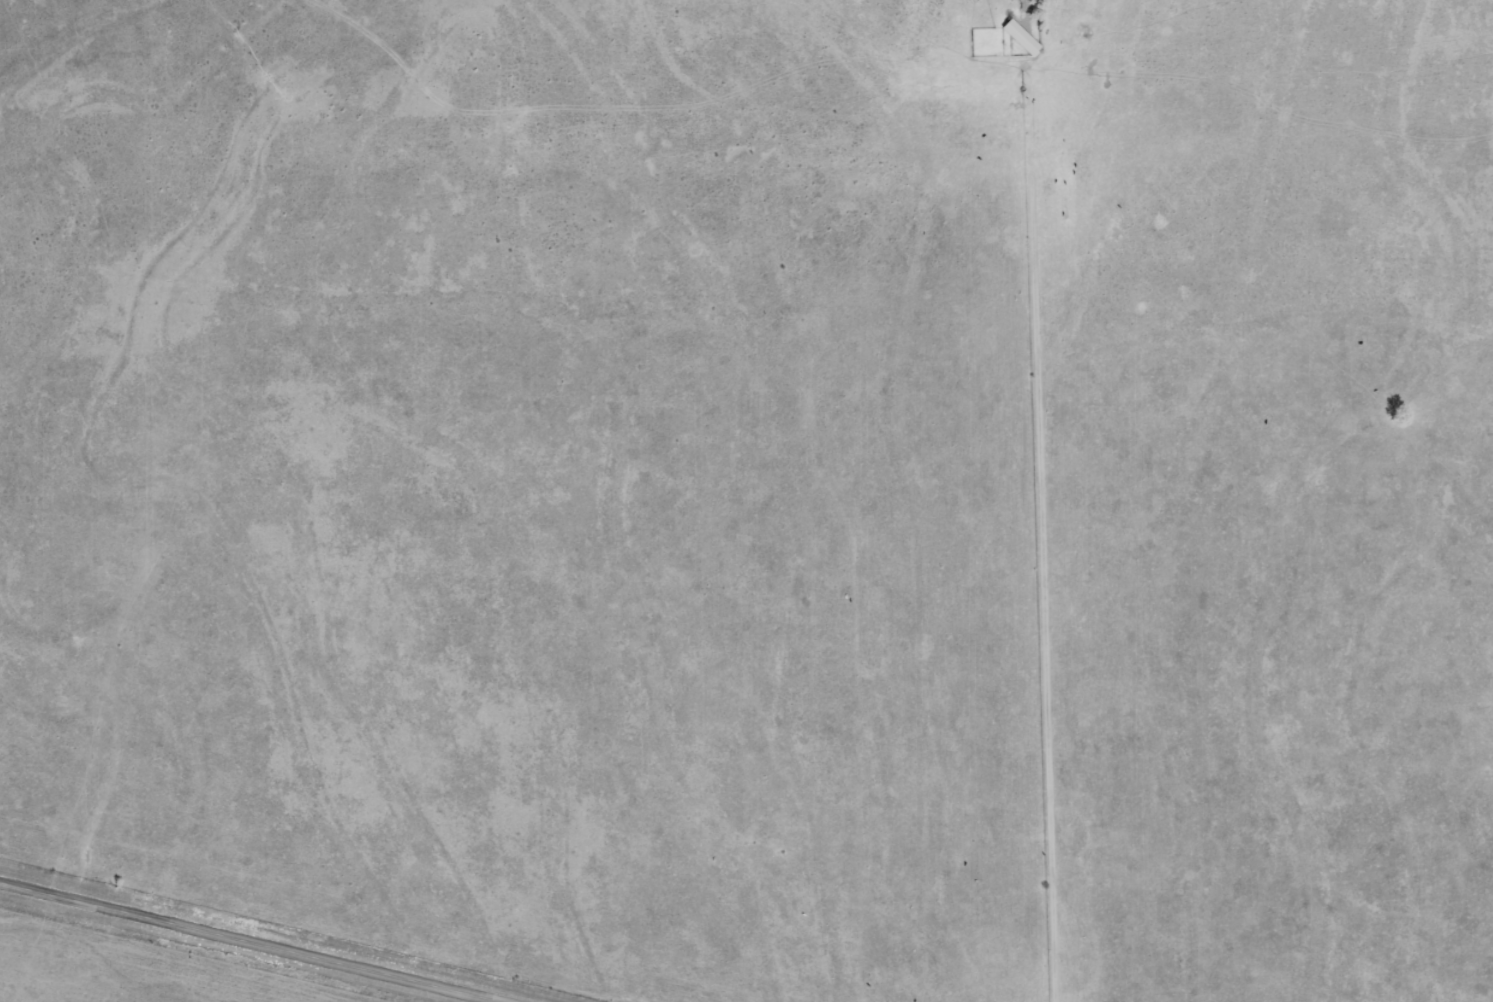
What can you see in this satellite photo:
building: (1023, 39)
road: (246, 943)

